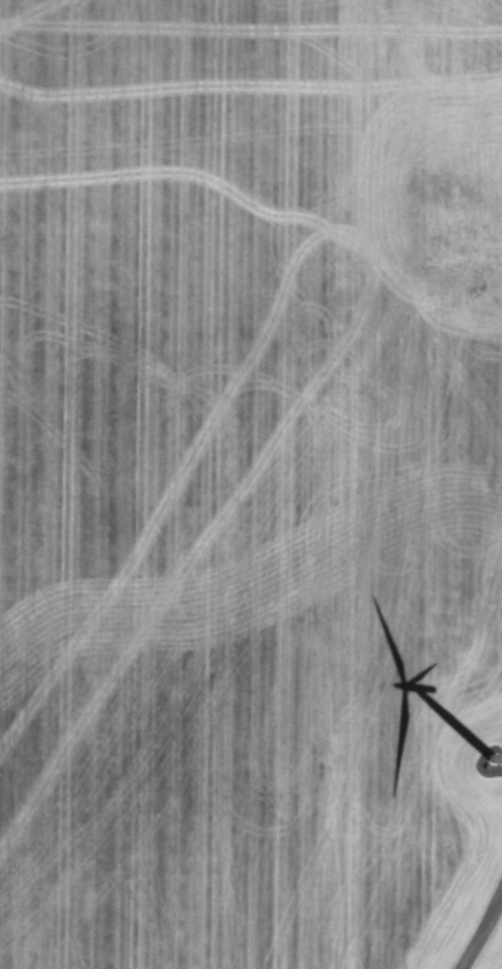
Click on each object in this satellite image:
wind turbine: (488, 764)

